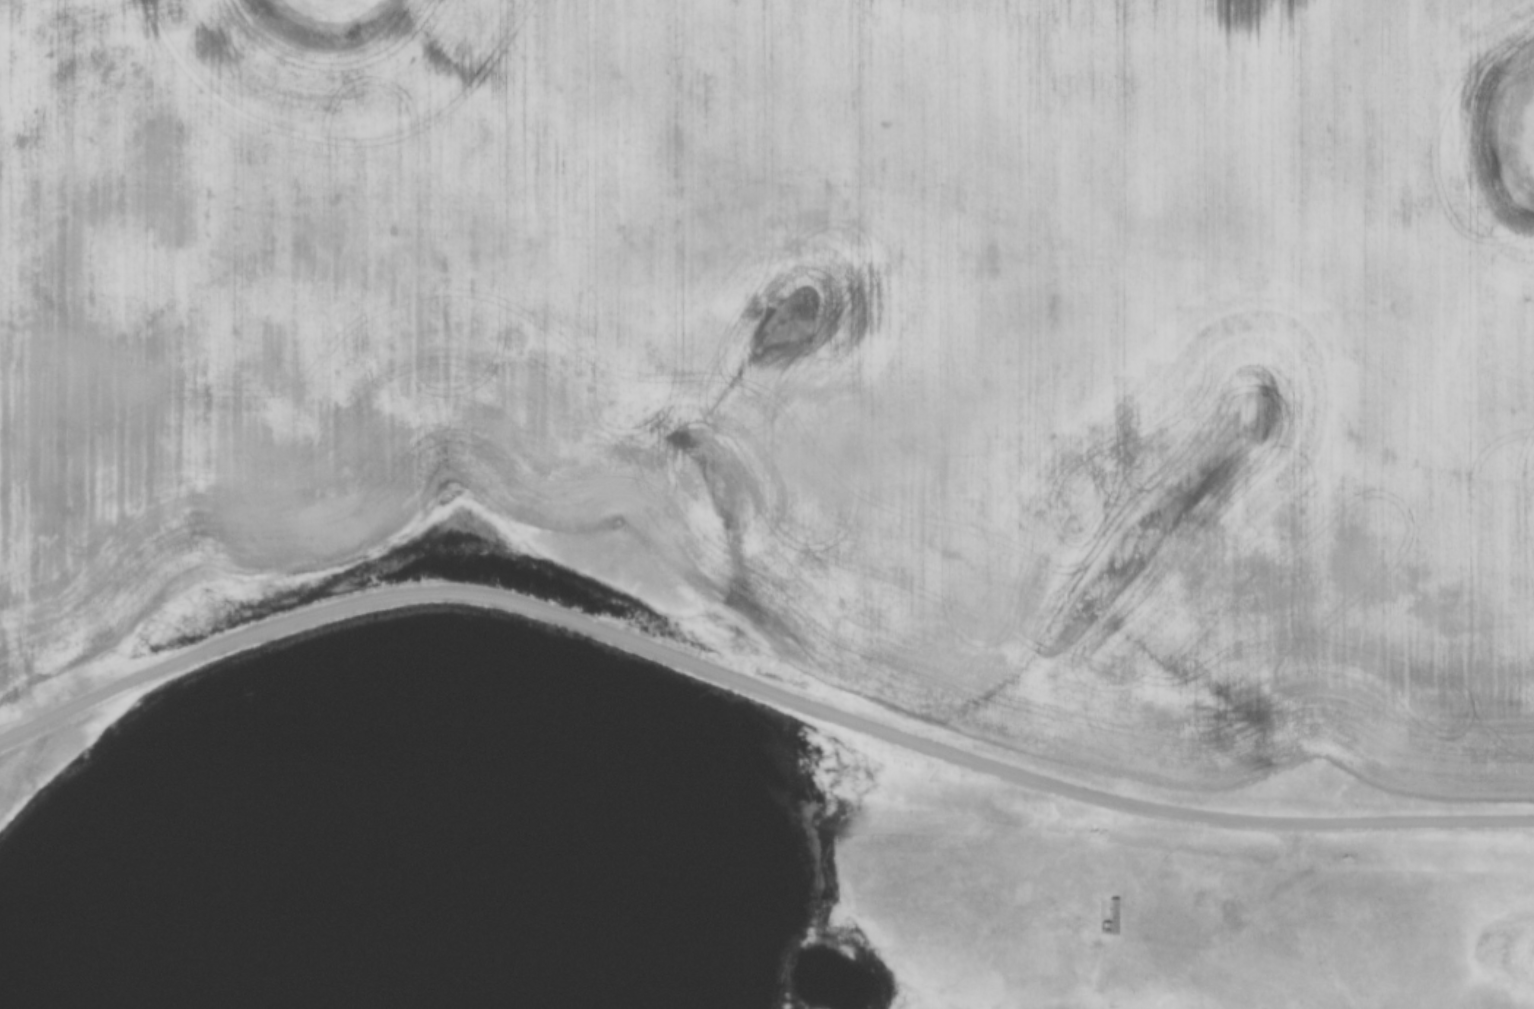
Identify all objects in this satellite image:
road: (757, 684)
building: (1110, 919)
road: (1308, 920)

